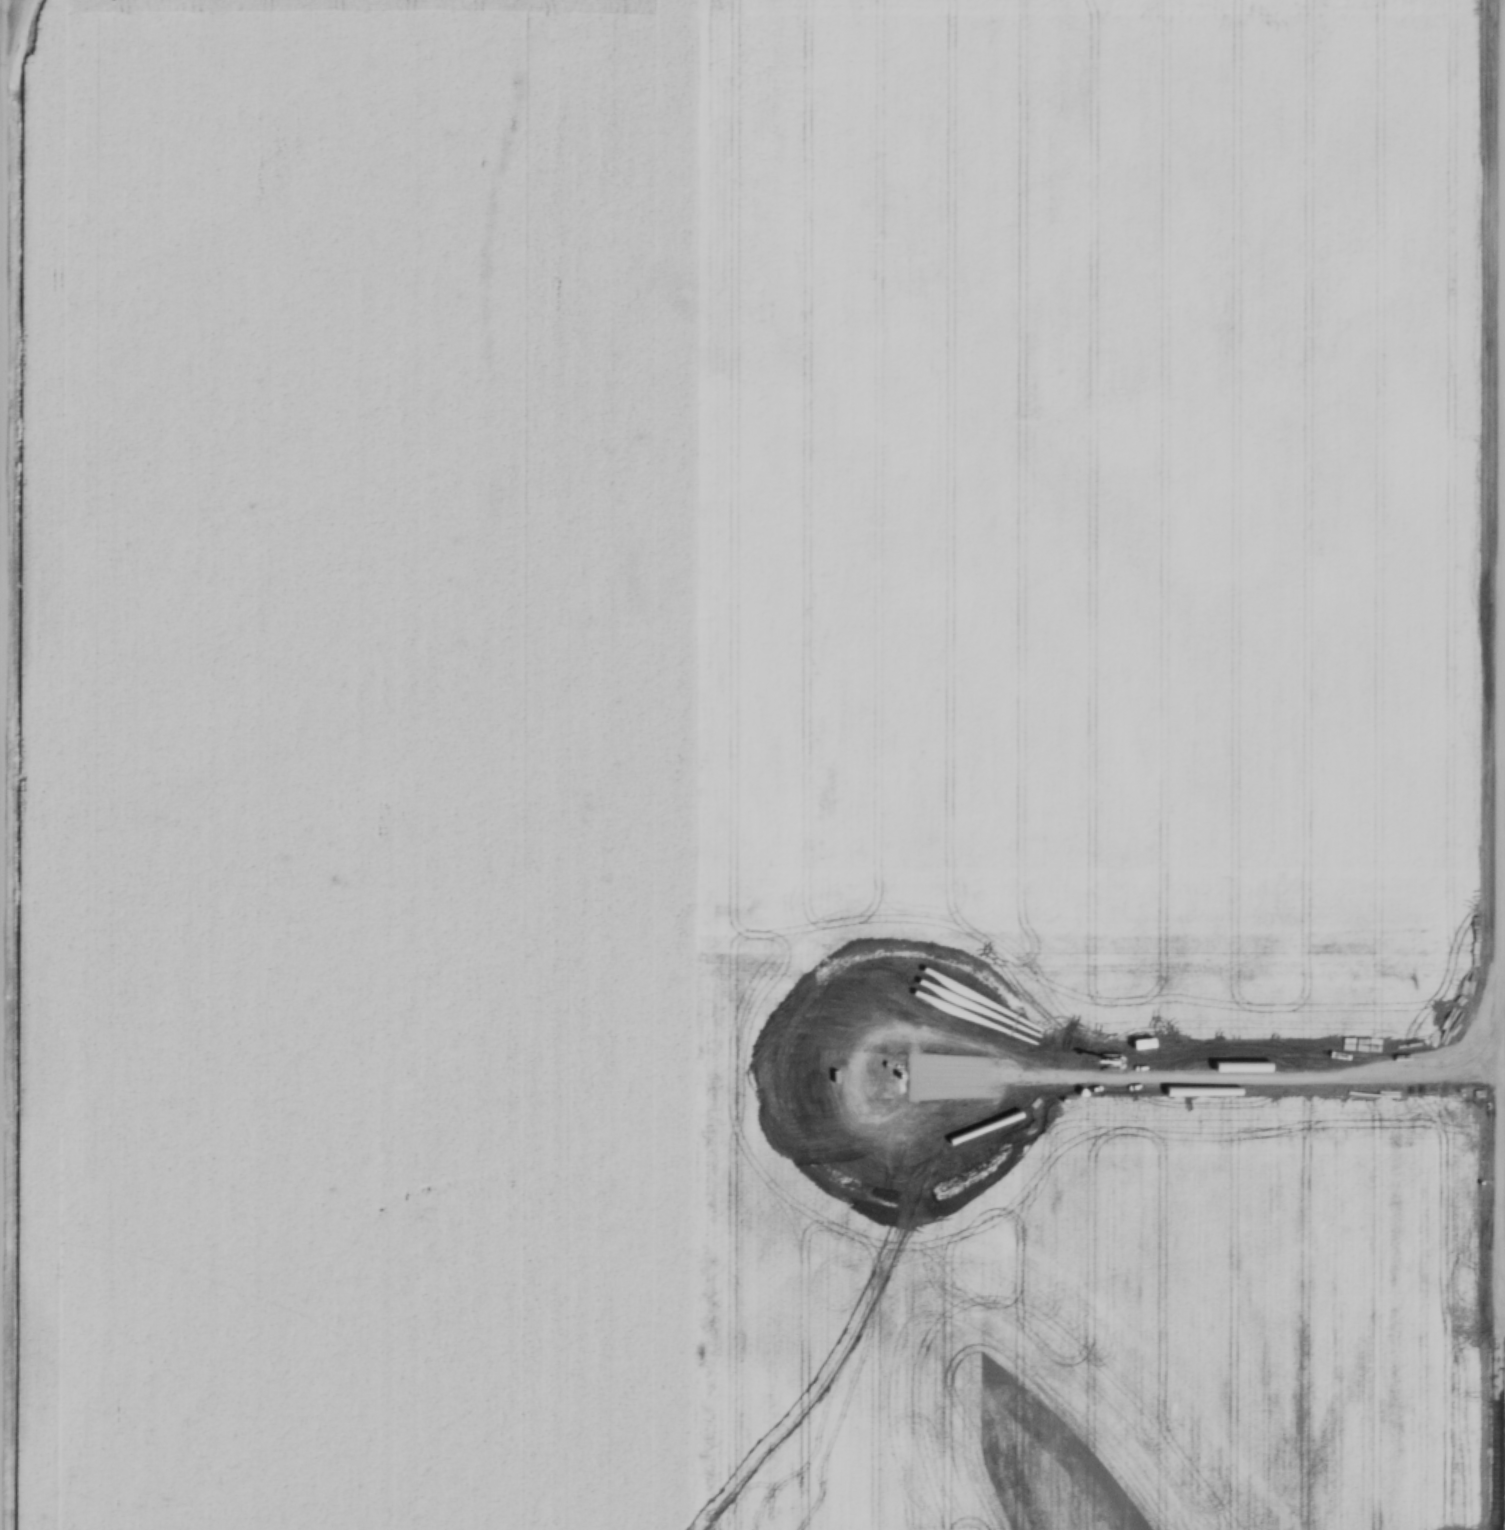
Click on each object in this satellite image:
road: (2, 549)
wind turbine: (893, 1063)

